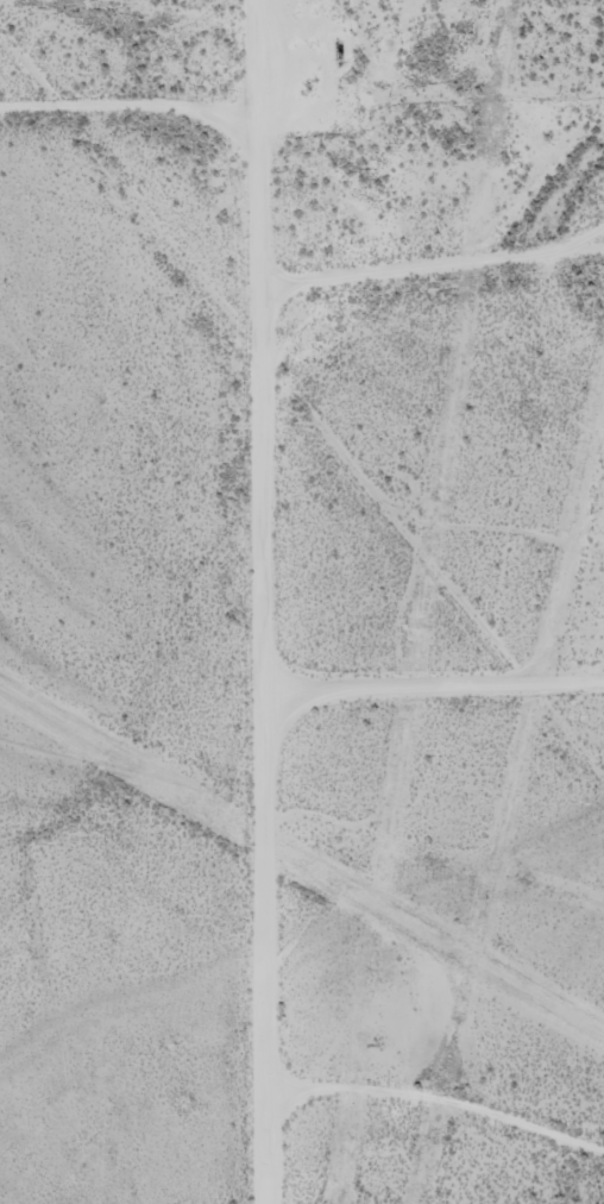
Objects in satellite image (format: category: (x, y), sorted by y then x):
road: (112, 118)
road: (239, 601)
road: (434, 1129)

